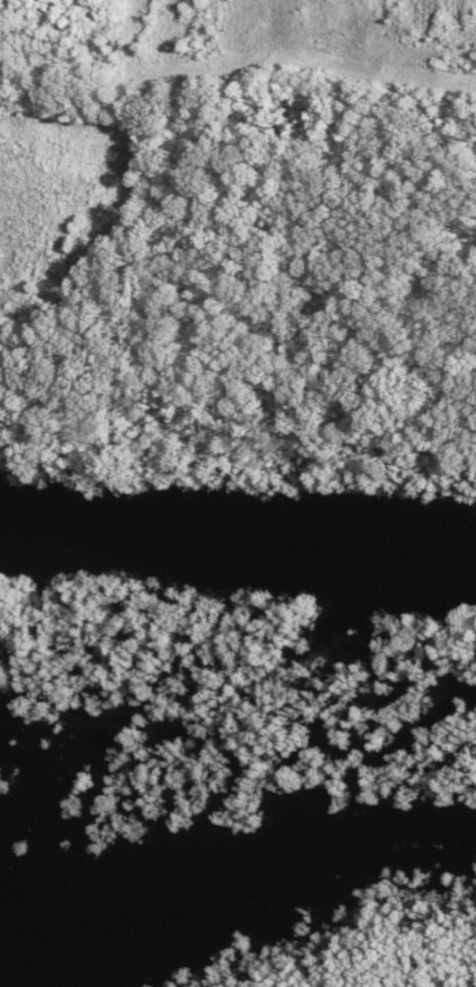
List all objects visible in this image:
river: (238, 550)

